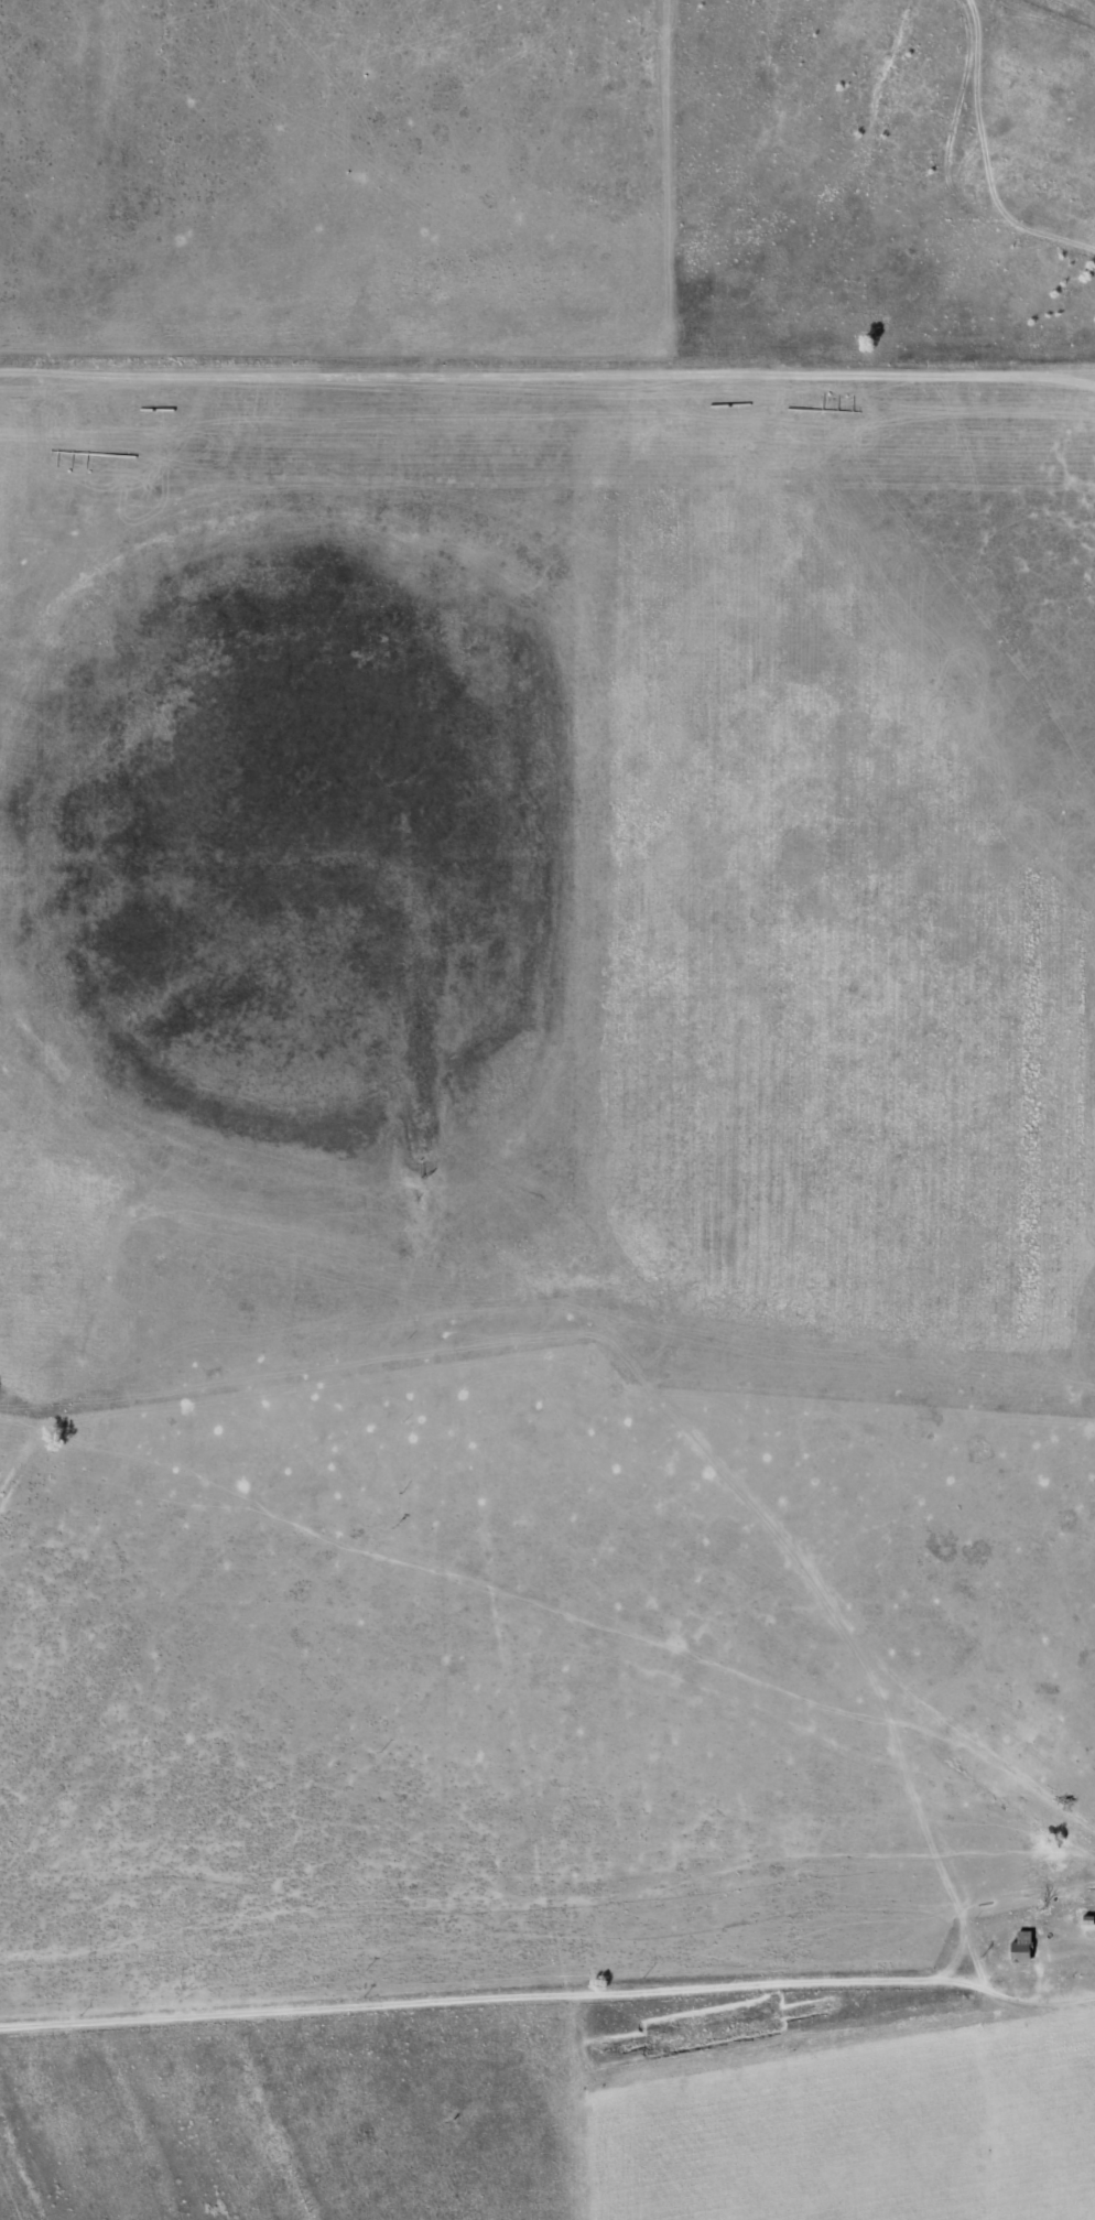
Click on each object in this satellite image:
road: (547, 2007)

